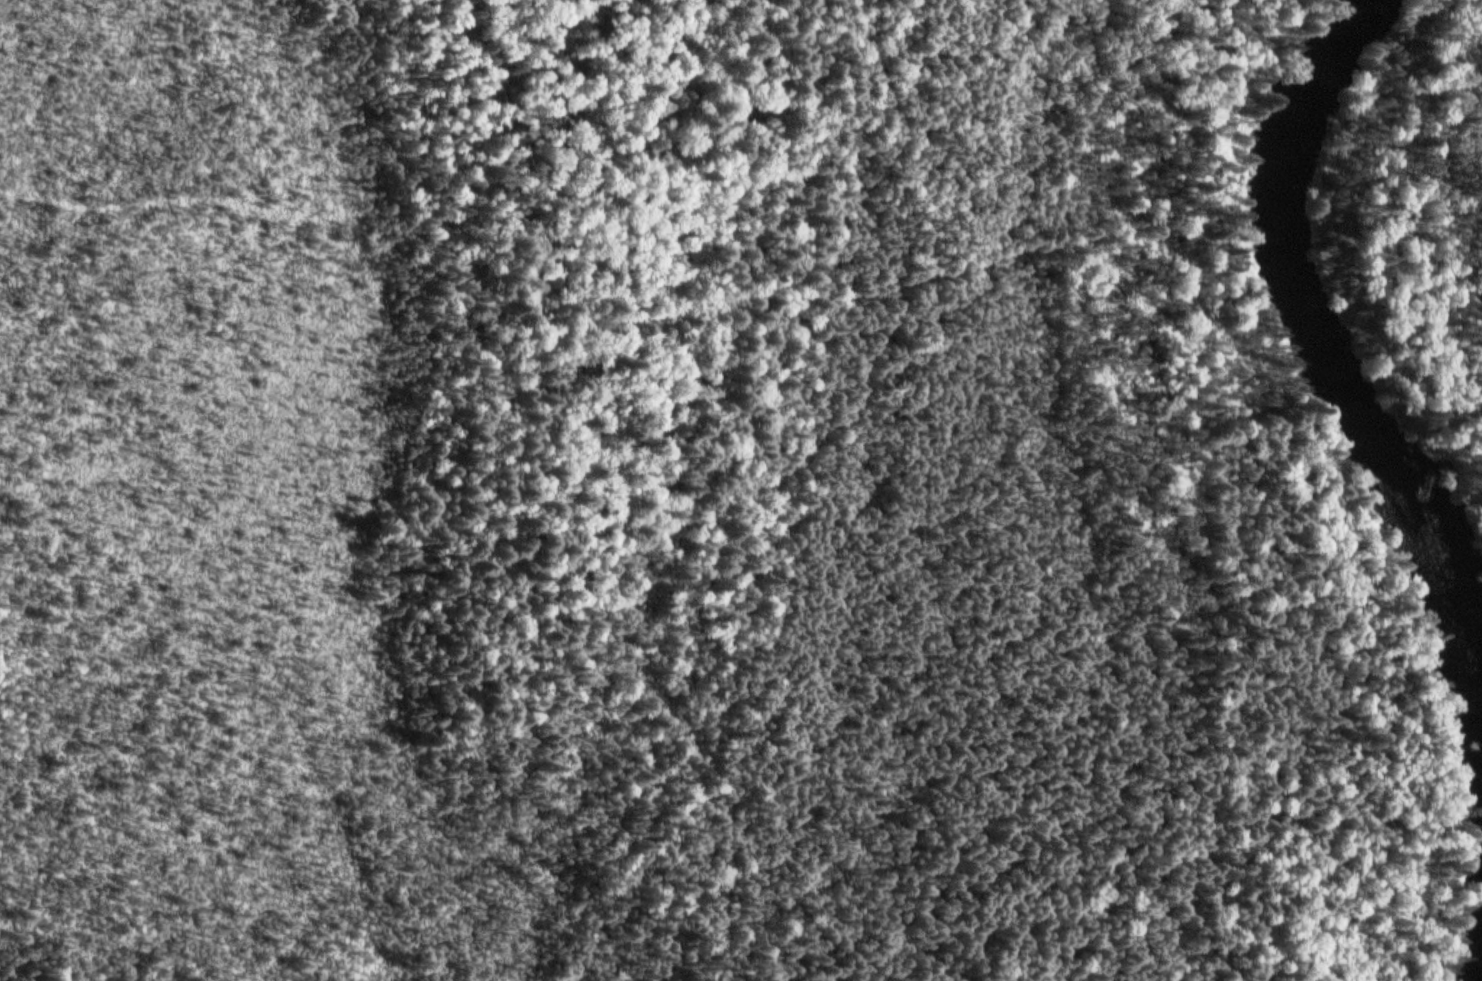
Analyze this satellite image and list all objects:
river: (1308, 362)
river: (1477, 972)

